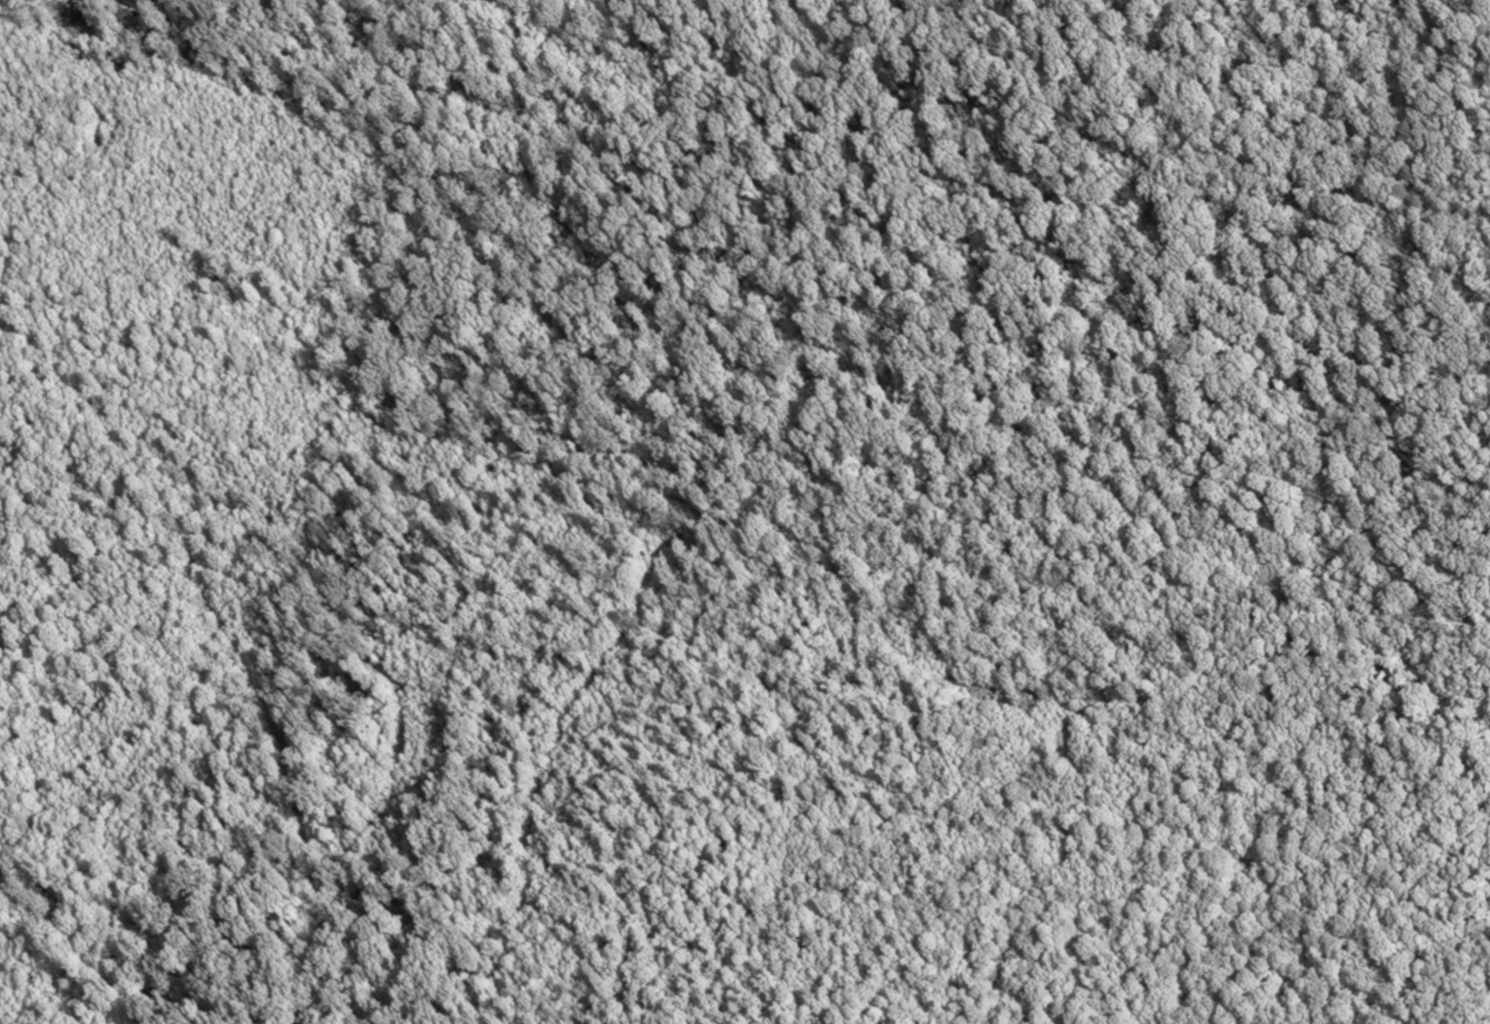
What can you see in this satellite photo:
building: (143, 3)
building: (82, 12)
road: (1129, 507)

